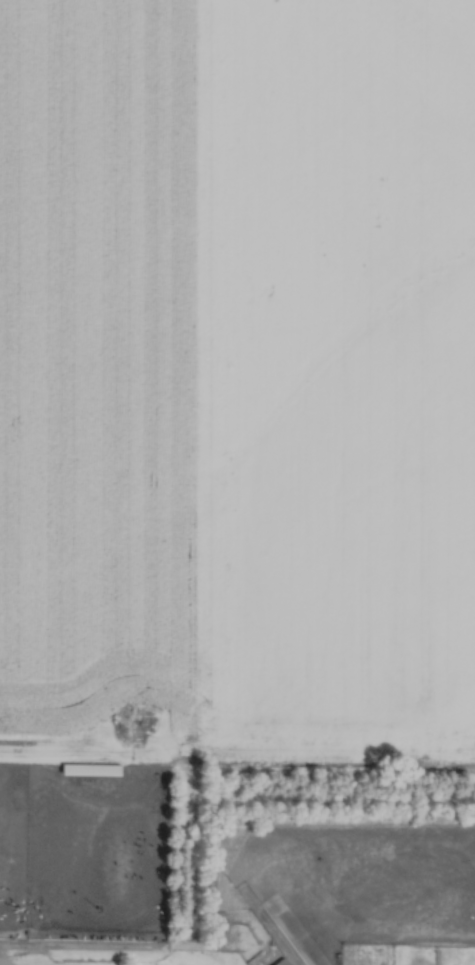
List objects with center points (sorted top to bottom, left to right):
building: (95, 765)
building: (284, 960)

